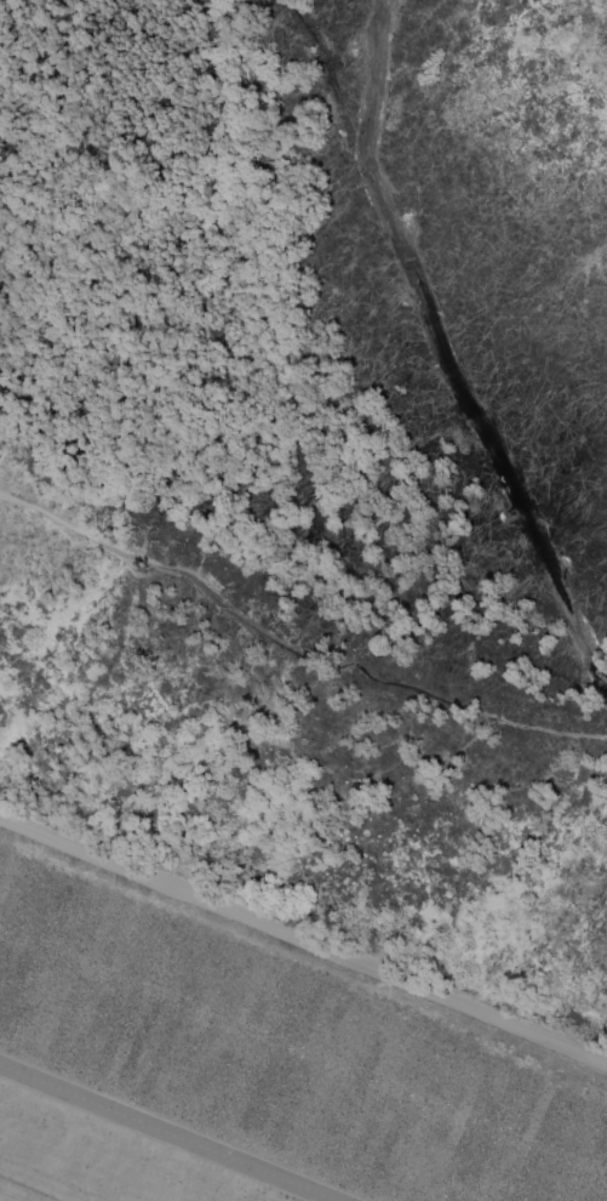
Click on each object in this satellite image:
dam: (303, 854)
road: (303, 941)
park: (248, 1102)
park: (248, 1102)
road: (168, 1132)
road: (38, 1185)

